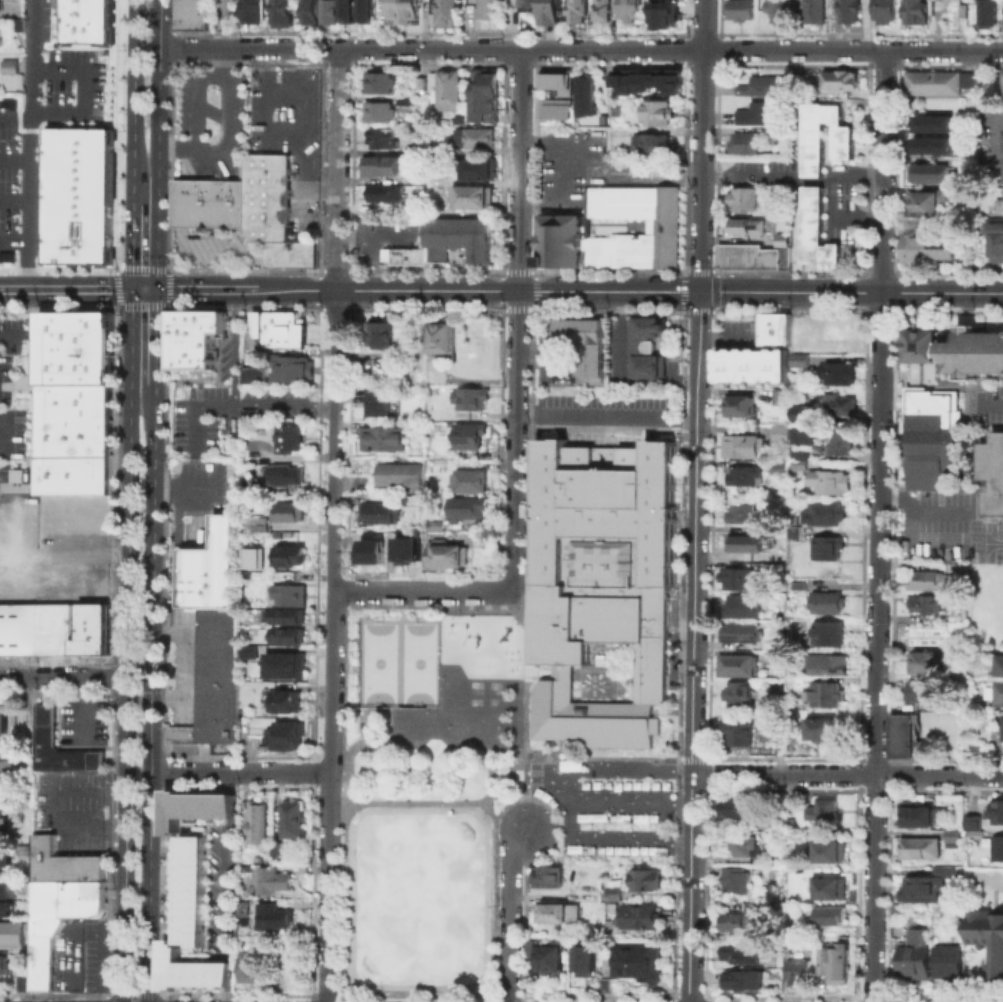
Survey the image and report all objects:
building: (189, 1)
building: (525, 2)
building: (346, 8)
building: (486, 8)
building: (189, 9)
building: (365, 9)
building: (551, 9)
building: (600, 9)
building: (739, 9)
building: (777, 9)
building: (250, 10)
building: (400, 10)
building: (575, 10)
building: (627, 10)
building: (847, 10)
building: (883, 10)
building: (308, 11)
building: (663, 11)
building: (812, 11)
building: (913, 11)
building: (328, 12)
building: (445, 12)
building: (281, 13)
building: (983, 13)
building: (82, 20)
building: (189, 21)
building: (0, 36)
road: (580, 49)
building: (8, 65)
building: (429, 77)
building: (557, 79)
building: (838, 79)
building: (938, 80)
building: (377, 81)
building: (646, 81)
building: (1002, 82)
building: (762, 83)
road: (82, 89)
building: (447, 89)
building: (483, 93)
building: (583, 94)
building: (0, 95)
road: (18, 97)
road: (195, 97)
road: (133, 100)
building: (401, 100)
building: (554, 105)
building: (376, 110)
building: (656, 111)
building: (757, 112)
road: (14, 118)
building: (931, 122)
road: (224, 130)
building: (472, 137)
building: (380, 138)
building: (813, 140)
building: (1002, 140)
building: (743, 141)
road: (28, 144)
road: (157, 144)
building: (650, 144)
building: (931, 144)
road: (701, 146)
building: (409, 148)
building: (434, 149)
road: (14, 158)
building: (380, 164)
building: (475, 168)
road: (518, 170)
building: (925, 173)
building: (208, 190)
building: (384, 191)
building: (74, 194)
building: (471, 195)
building: (741, 197)
road: (14, 199)
building: (924, 201)
building: (998, 202)
building: (272, 211)
building: (207, 214)
building: (363, 222)
building: (746, 224)
building: (562, 225)
building: (815, 228)
building: (994, 229)
road: (374, 236)
building: (457, 236)
road: (14, 239)
road: (131, 245)
building: (938, 245)
building: (912, 246)
building: (996, 249)
building: (2, 254)
building: (404, 254)
building: (754, 254)
building: (459, 258)
road: (65, 289)
traffic signals: (131, 289)
road: (143, 289)
traffic signals: (156, 289)
road: (245, 289)
road: (608, 291)
traffic signals: (699, 292)
road: (942, 293)
building: (96, 323)
building: (277, 326)
building: (773, 327)
road: (13, 333)
building: (375, 333)
road: (154, 335)
building: (193, 336)
building: (439, 339)
building: (586, 342)
building: (919, 344)
building: (645, 345)
building: (69, 348)
building: (972, 351)
building: (796, 358)
building: (289, 367)
building: (740, 368)
road: (619, 371)
building: (835, 371)
building: (251, 375)
building: (929, 393)
building: (776, 394)
road: (231, 396)
building: (468, 396)
building: (374, 400)
building: (837, 403)
road: (990, 403)
building: (738, 404)
road: (193, 405)
building: (798, 412)
road: (604, 414)
parking lot: (605, 417)
building: (777, 429)
building: (467, 433)
building: (799, 434)
building: (73, 436)
building: (285, 436)
building: (380, 437)
road: (514, 439)
building: (835, 439)
building: (739, 445)
building: (930, 449)
building: (796, 453)
building: (796, 464)
building: (777, 465)
building: (992, 472)
building: (396, 473)
building: (284, 474)
building: (743, 474)
building: (467, 479)
building: (827, 480)
building: (464, 505)
building: (286, 510)
building: (376, 511)
building: (823, 511)
road: (938, 511)
building: (740, 512)
building: (252, 521)
building: (432, 522)
road: (331, 524)
road: (878, 526)
building: (762, 527)
building: (790, 534)
building: (773, 538)
road: (921, 538)
building: (741, 543)
building: (825, 545)
building: (389, 548)
building: (442, 552)
building: (604, 552)
road: (87, 553)
building: (286, 554)
building: (251, 556)
road: (24, 557)
building: (412, 563)
building: (208, 566)
building: (734, 578)
building: (924, 579)
building: (795, 585)
road: (421, 591)
building: (287, 594)
building: (823, 601)
building: (740, 602)
building: (927, 603)
building: (286, 614)
building: (26, 627)
building: (50, 627)
building: (80, 627)
building: (99, 627)
building: (5, 628)
building: (17, 628)
building: (738, 631)
building: (825, 632)
building: (286, 634)
road: (126, 645)
road: (691, 646)
park: (377, 660)
park: (417, 660)
building: (924, 660)
park: (398, 661)
building: (279, 662)
building: (735, 664)
building: (824, 664)
building: (1000, 664)
road: (138, 667)
road: (523, 668)
road: (62, 676)
building: (213, 678)
building: (921, 690)
road: (150, 692)
building: (735, 692)
building: (997, 692)
building: (824, 693)
building: (282, 697)
building: (554, 705)
building: (2, 721)
park: (427, 721)
building: (614, 723)
building: (44, 725)
park: (474, 725)
building: (817, 726)
building: (1002, 728)
building: (735, 730)
building: (283, 733)
building: (904, 736)
building: (968, 745)
road: (493, 752)
road: (621, 758)
building: (2, 759)
road: (558, 762)
road: (240, 772)
road: (846, 773)
road: (560, 782)
park: (428, 787)
road: (431, 800)
road: (537, 802)
building: (194, 805)
building: (737, 806)
parking lot: (605, 810)
building: (821, 810)
building: (995, 811)
building: (916, 812)
building: (291, 818)
building: (256, 821)
building: (1, 823)
building: (971, 827)
building: (950, 835)
building: (745, 844)
road: (609, 845)
building: (275, 847)
building: (916, 847)
building: (996, 847)
building: (828, 850)
park: (430, 858)
building: (4, 860)
building: (546, 874)
building: (644, 878)
building: (273, 879)
building: (733, 879)
building: (927, 882)
road: (220, 886)
building: (828, 887)
building: (7, 889)
building: (190, 889)
building: (57, 898)
building: (7, 907)
building: (557, 911)
road: (508, 913)
building: (826, 914)
building: (639, 915)
building: (275, 917)
building: (737, 917)
park: (409, 930)
building: (11, 933)
building: (740, 950)
building: (550, 954)
building: (913, 958)
building: (584, 960)
building: (833, 960)
building: (638, 961)
building: (946, 961)
building: (4, 964)
building: (995, 966)
building: (250, 967)
building: (191, 969)
building: (795, 970)
building: (738, 976)
road: (134, 994)

